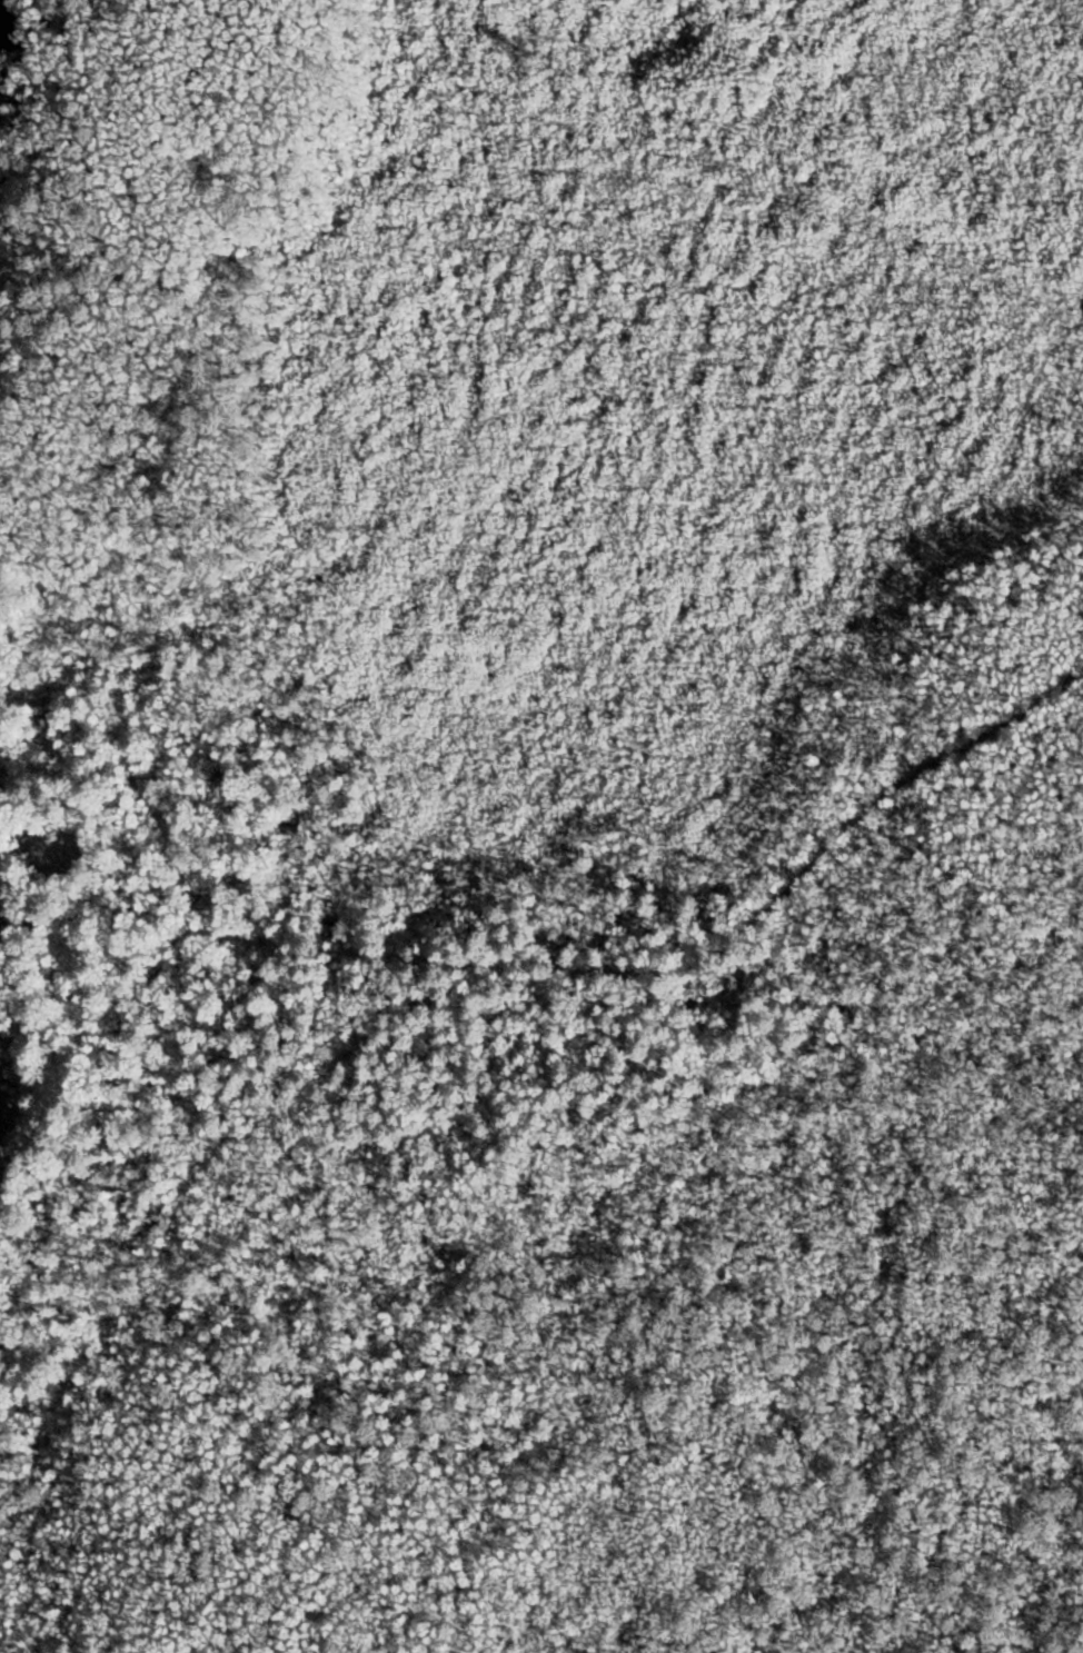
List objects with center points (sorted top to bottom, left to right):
wastewater plant: (0, 923)

